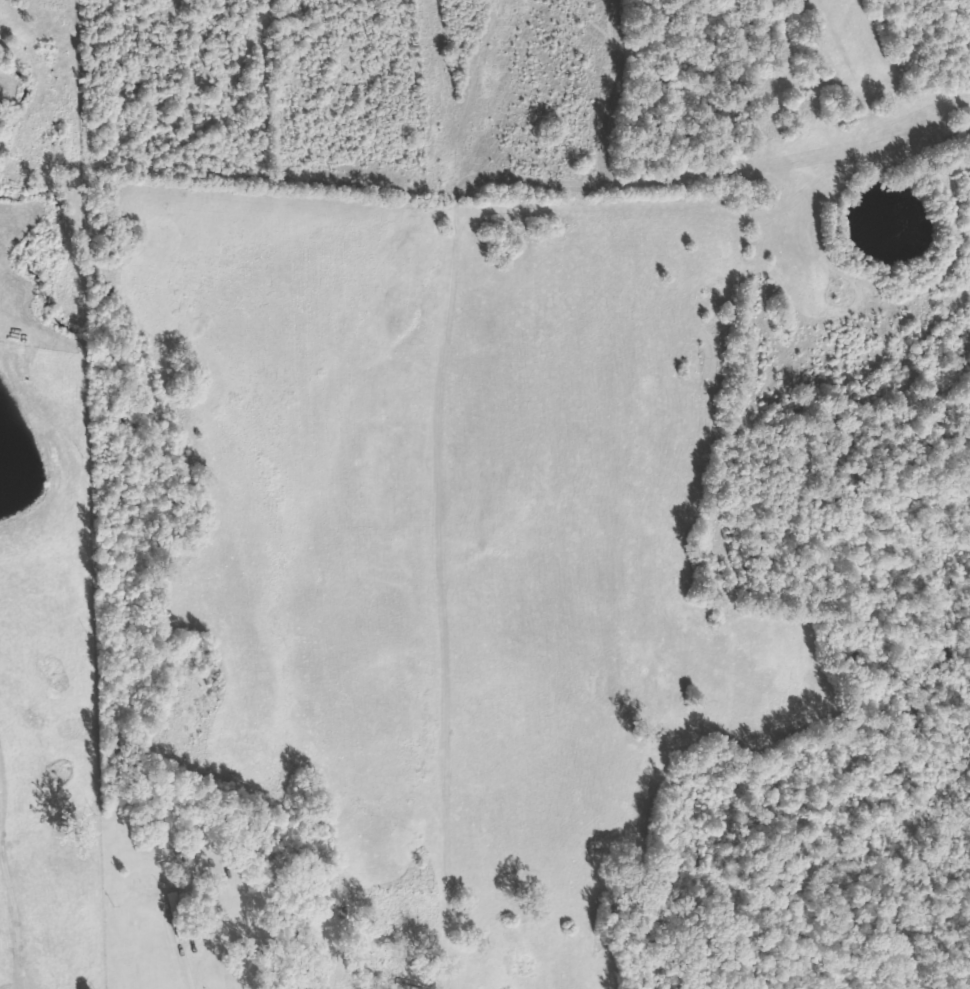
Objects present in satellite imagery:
building: (174, 914)
building: (37, 941)

